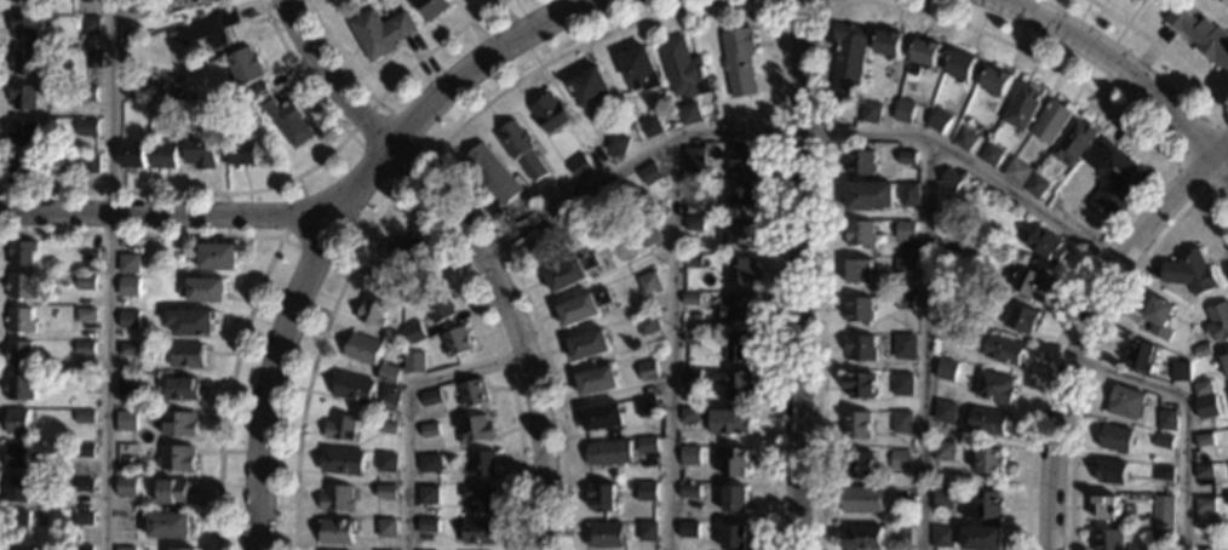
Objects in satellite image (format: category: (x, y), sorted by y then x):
building: (31, 0)
building: (180, 0)
building: (1142, 0)
building: (195, 2)
building: (137, 7)
building: (432, 7)
building: (90, 24)
building: (24, 27)
building: (211, 29)
building: (380, 31)
building: (171, 34)
building: (1201, 35)
building: (888, 44)
road: (1163, 50)
building: (923, 56)
building: (849, 58)
building: (93, 59)
building: (739, 61)
building: (25, 62)
road: (1117, 65)
building: (245, 67)
building: (960, 67)
building: (639, 69)
building: (684, 76)
road: (328, 79)
building: (994, 81)
road: (389, 86)
building: (591, 86)
building: (134, 91)
building: (172, 91)
building: (256, 92)
building: (86, 93)
building: (27, 96)
building: (1022, 105)
building: (905, 111)
building: (217, 113)
building: (551, 113)
building: (871, 113)
building: (251, 119)
building: (287, 120)
building: (940, 120)
building: (1051, 121)
building: (650, 126)
building: (87, 127)
road: (801, 131)
building: (24, 133)
building: (965, 139)
building: (1072, 142)
building: (615, 143)
building: (521, 149)
road: (1221, 149)
building: (202, 150)
building: (242, 153)
road: (431, 154)
building: (992, 154)
building: (132, 155)
building: (165, 155)
building: (694, 157)
building: (907, 157)
building: (741, 160)
building: (860, 162)
building: (88, 164)
road: (1221, 165)
building: (580, 166)
road: (1172, 166)
building: (21, 171)
building: (1016, 171)
building: (492, 172)
building: (649, 173)
building: (1113, 174)
building: (949, 183)
building: (1037, 185)
road: (458, 187)
building: (693, 187)
road: (262, 188)
road: (404, 189)
road: (1147, 190)
building: (741, 193)
building: (868, 195)
building: (908, 195)
road: (334, 211)
building: (693, 223)
building: (738, 231)
building: (860, 233)
building: (906, 234)
road: (140, 235)
building: (648, 236)
building: (951, 237)
road: (288, 240)
building: (544, 242)
building: (1048, 246)
building: (406, 251)
building: (22, 252)
building: (217, 257)
building: (692, 260)
building: (91, 262)
building: (128, 263)
building: (905, 268)
building: (740, 269)
building: (570, 271)
building: (860, 271)
building: (1190, 273)
road: (779, 274)
road: (799, 274)
road: (111, 275)
road: (820, 275)
building: (648, 281)
building: (946, 281)
building: (86, 282)
building: (397, 282)
building: (1032, 283)
building: (21, 286)
building: (131, 287)
building: (205, 290)
building: (692, 299)
building: (437, 303)
building: (905, 303)
building: (583, 306)
building: (733, 308)
building: (859, 309)
building: (372, 311)
building: (87, 315)
building: (1159, 316)
building: (1021, 319)
building: (21, 320)
building: (130, 320)
building: (1218, 321)
building: (191, 322)
building: (945, 323)
building: (648, 328)
road: (512, 330)
road: (1083, 331)
building: (414, 332)
road: (1103, 333)
building: (391, 337)
building: (692, 338)
building: (455, 342)
road: (675, 342)
road: (923, 343)
building: (589, 344)
building: (738, 346)
building: (905, 346)
building: (85, 348)
building: (860, 348)
building: (128, 349)
building: (362, 349)
building: (1004, 350)
building: (1203, 350)
building: (1186, 353)
building: (21, 354)
building: (188, 355)
building: (1141, 355)
building: (413, 362)
building: (1226, 362)
building: (647, 369)
building: (946, 369)
building: (1181, 372)
building: (388, 374)
building: (690, 377)
building: (597, 380)
road: (270, 382)
building: (85, 383)
building: (734, 383)
building: (902, 384)
building: (128, 385)
building: (860, 385)
building: (994, 386)
building: (19, 388)
building: (352, 388)
building: (1203, 388)
building: (182, 389)
road: (228, 389)
building: (471, 393)
building: (430, 397)
building: (389, 399)
building: (1125, 402)
building: (647, 406)
building: (1205, 406)
road: (414, 412)
building: (945, 412)
road: (1182, 413)
building: (690, 414)
building: (84, 417)
building: (603, 417)
building: (1166, 419)
building: (987, 420)
building: (18, 422)
building: (127, 422)
building: (729, 422)
building: (901, 422)
building: (178, 424)
building: (856, 424)
building: (342, 428)
building: (388, 428)
building: (475, 429)
building: (430, 430)
building: (1115, 437)
building: (1204, 440)
building: (1163, 441)
building: (647, 445)
building: (85, 451)
building: (943, 451)
building: (609, 452)
building: (127, 453)
building: (902, 454)
building: (16, 456)
building: (690, 456)
building: (177, 458)
building: (989, 460)
building: (342, 462)
building: (386, 463)
building: (430, 463)
building: (482, 463)
building: (736, 463)
building: (859, 464)
building: (1111, 471)
building: (1203, 471)
building: (1163, 472)
building: (84, 486)
building: (126, 486)
building: (632, 486)
building: (15, 489)
building: (647, 491)
building: (690, 491)
building: (173, 492)
building: (386, 492)
building: (902, 493)
building: (427, 495)
building: (602, 497)
building: (335, 498)
building: (478, 498)
building: (735, 498)
building: (943, 498)
building: (862, 499)
building: (1204, 505)
building: (982, 506)
building: (1107, 508)
building: (1163, 510)
building: (84, 519)
building: (126, 521)
building: (16, 522)
building: (170, 525)
building: (427, 525)
building: (386, 528)
building: (689, 529)
building: (335, 531)
building: (648, 531)
building: (478, 532)
building: (606, 534)
building: (901, 534)
building: (1161, 535)
building: (734, 537)
building: (862, 537)
building: (942, 537)
building: (982, 538)
building: (1109, 539)
building: (18, 548)
building: (82, 548)
building: (125, 549)
building: (182, 549)

